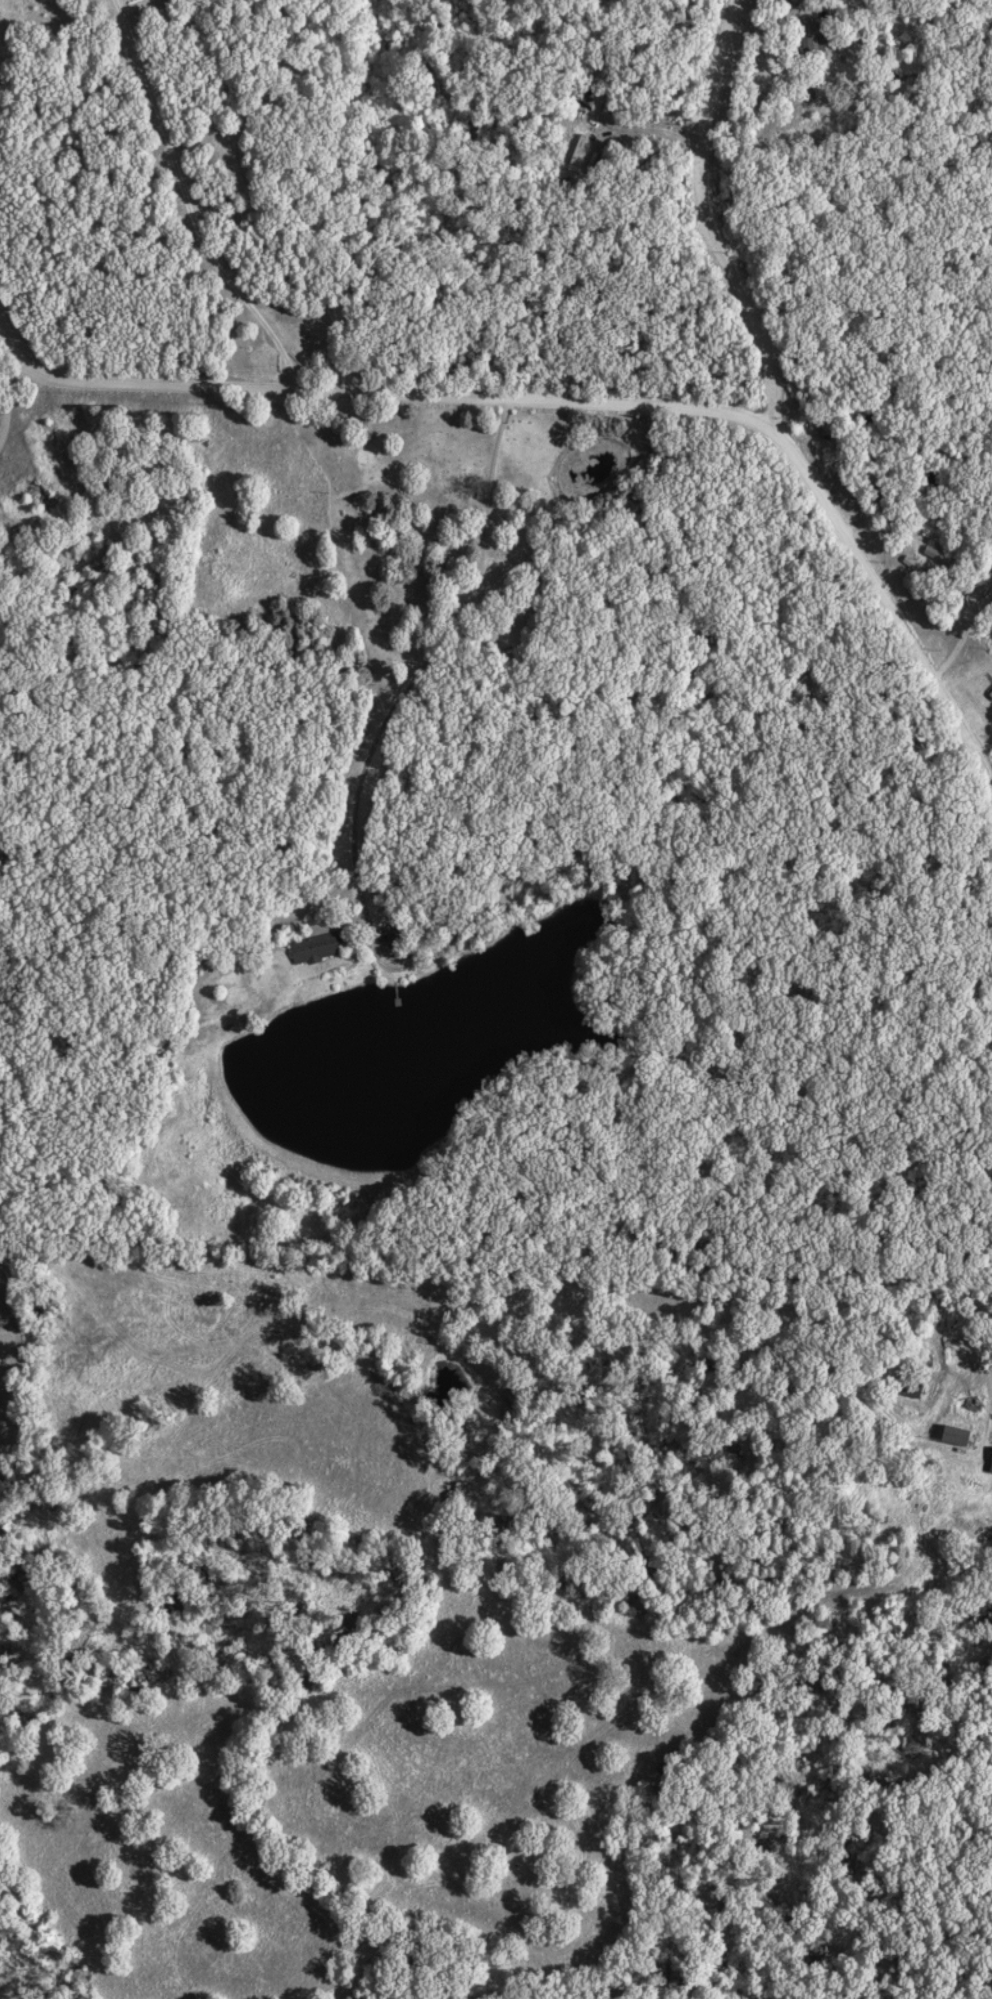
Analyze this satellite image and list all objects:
building: (790, 2)
building: (807, 38)
road: (180, 211)
road: (702, 227)
road: (8, 396)
road: (627, 402)
building: (933, 556)
road: (416, 669)
building: (989, 694)
building: (312, 949)
building: (965, 1409)
building: (950, 1438)
building: (988, 1464)

